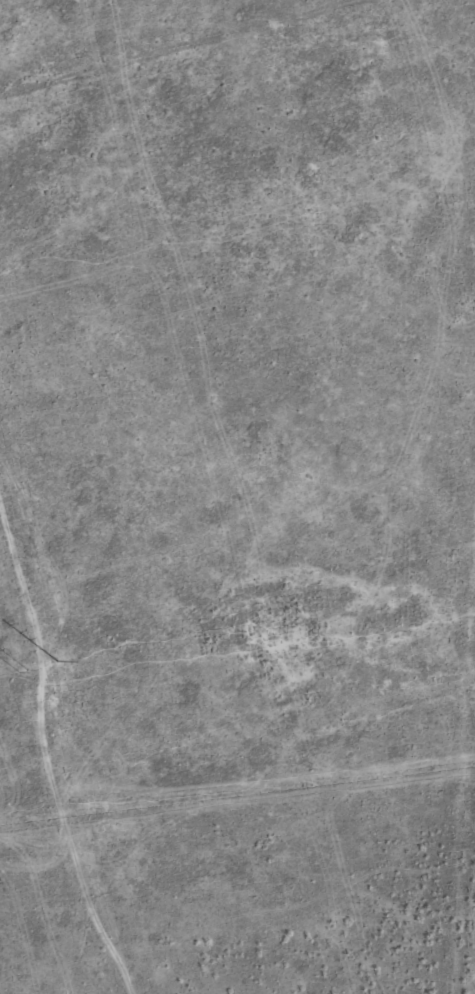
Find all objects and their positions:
power tower: (57, 658)
power tower: (22, 674)

